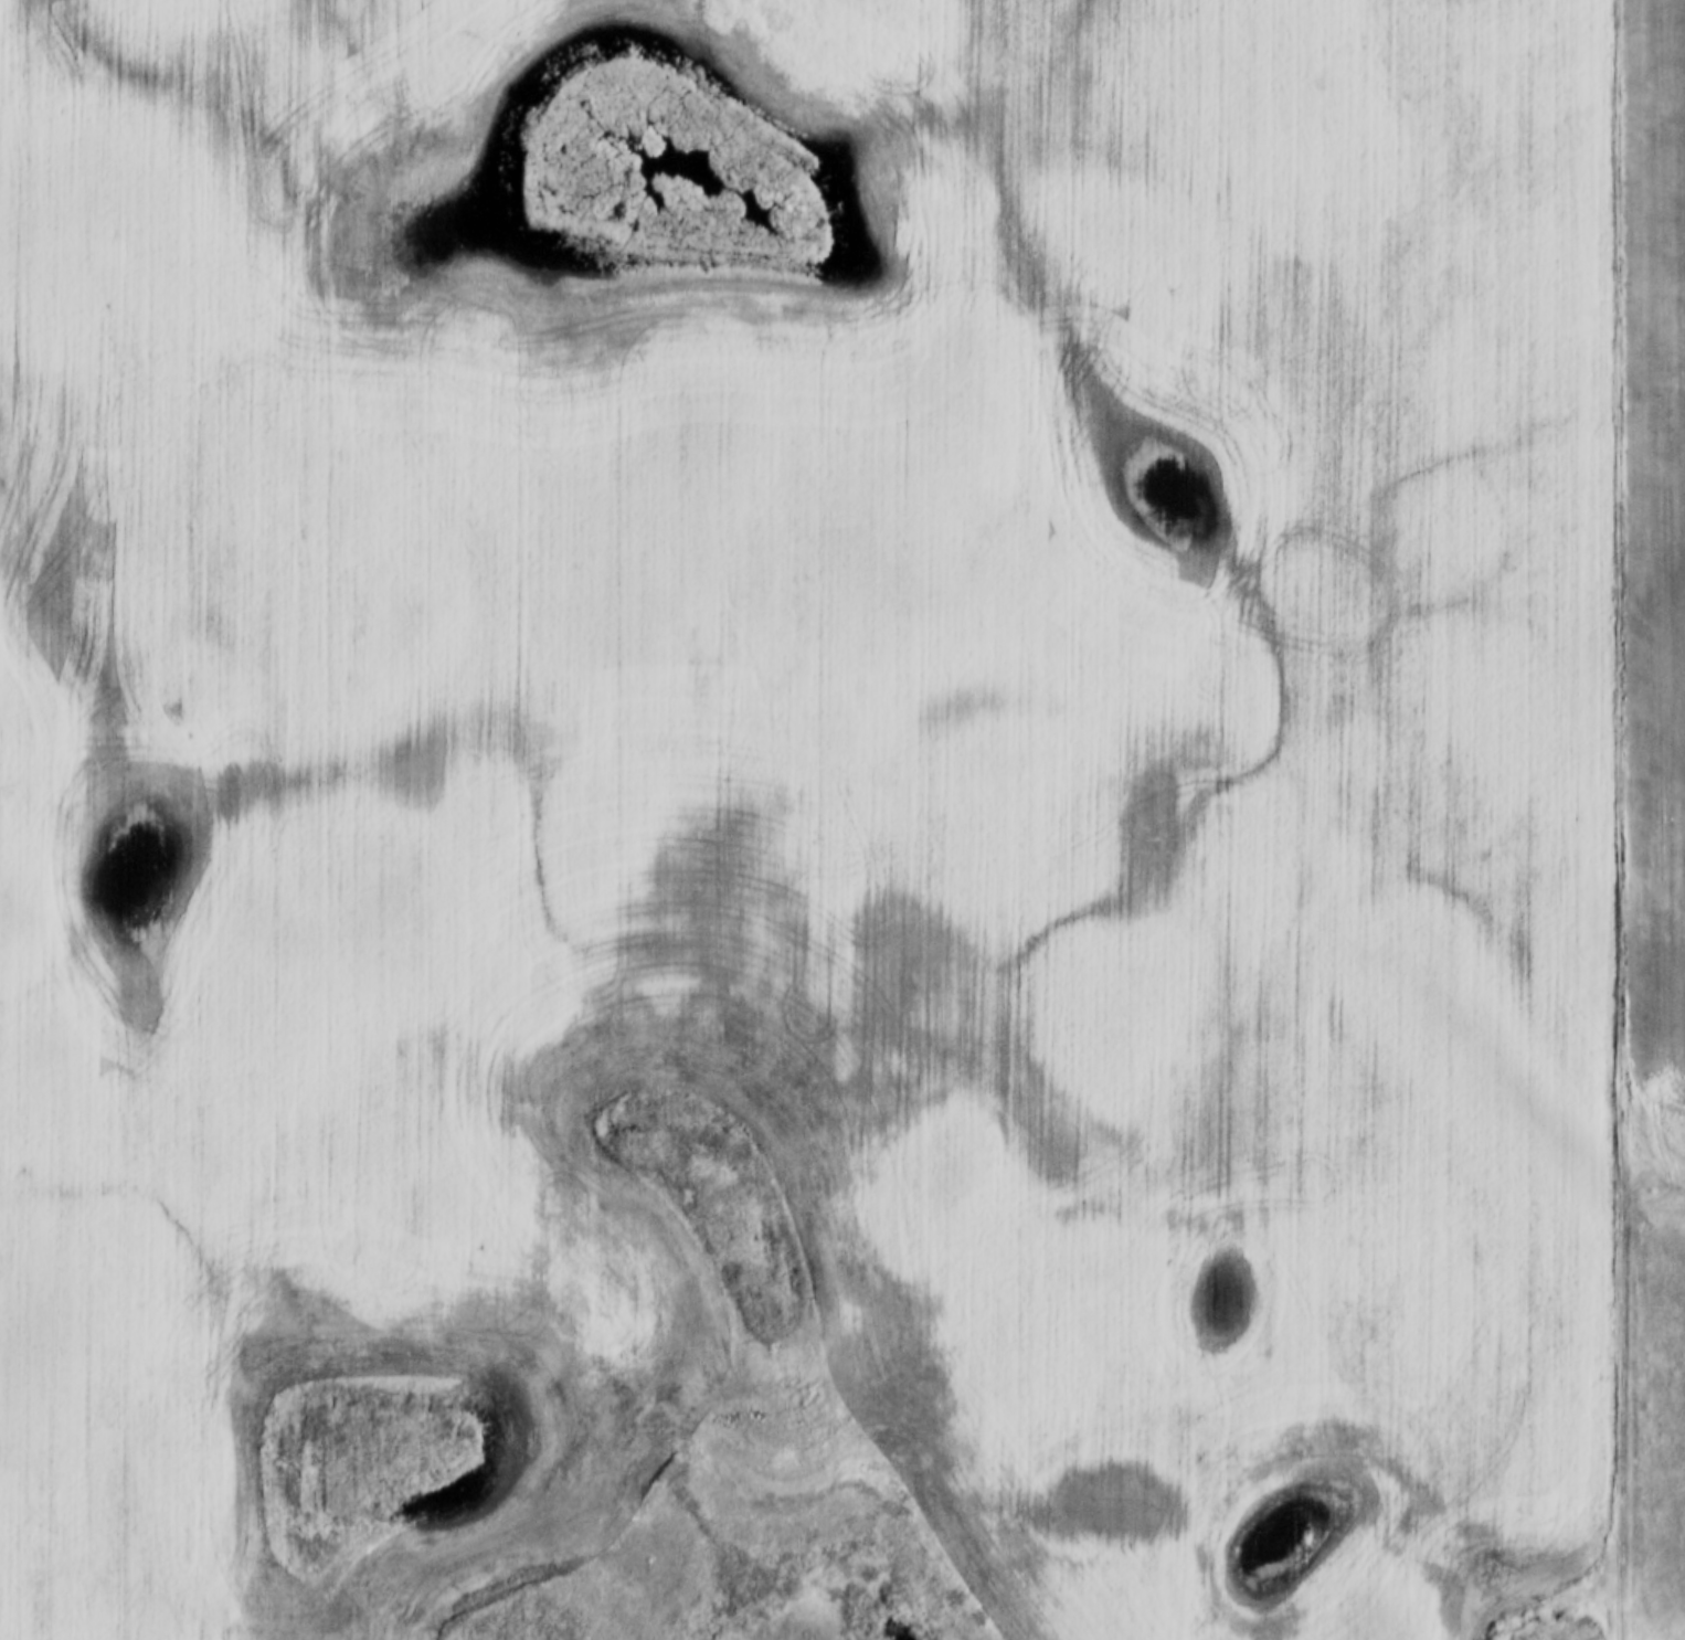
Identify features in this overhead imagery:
road: (1615, 819)

